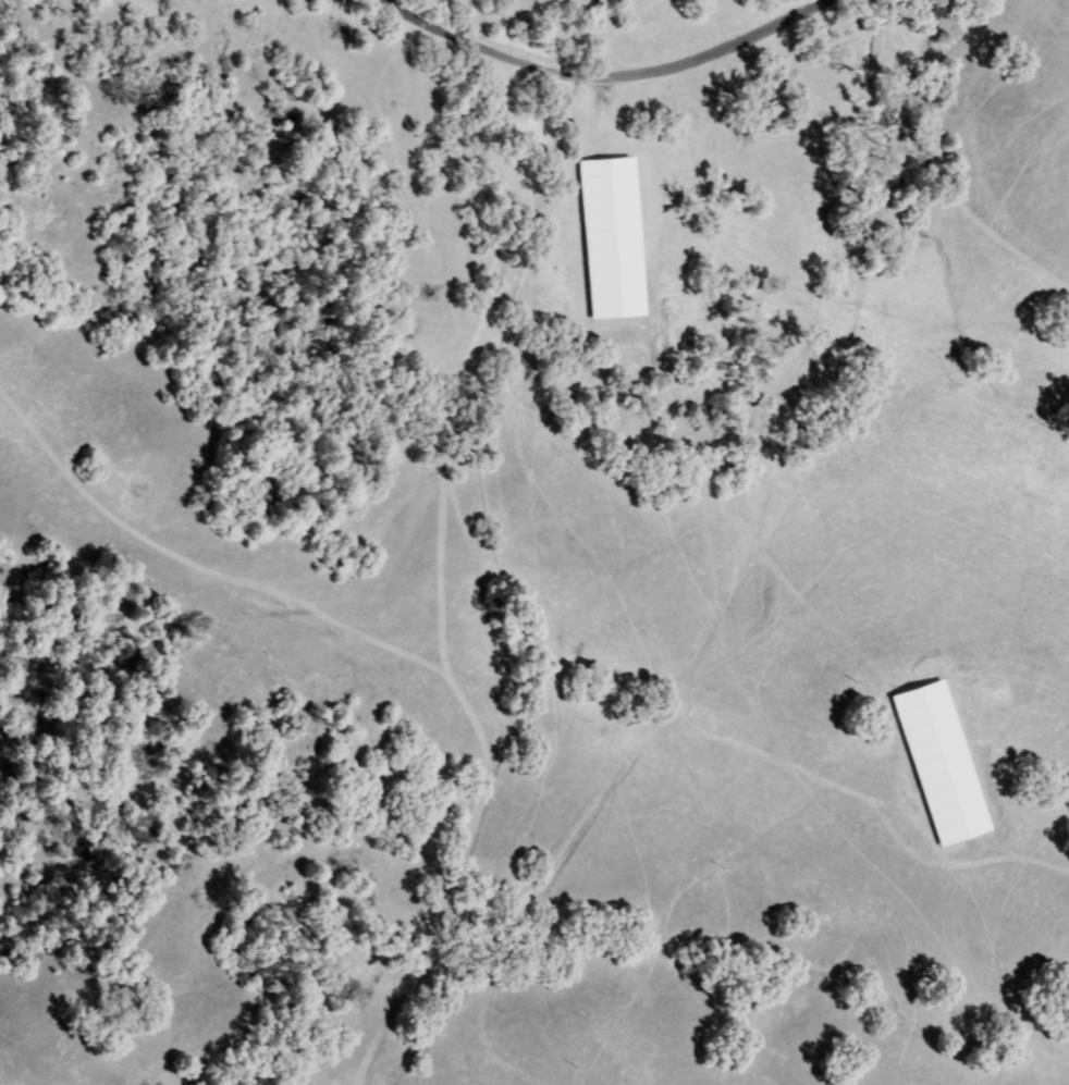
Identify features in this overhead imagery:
road: (602, 76)
road: (962, 212)
road: (736, 569)
building: (575, 693)
building: (332, 752)

